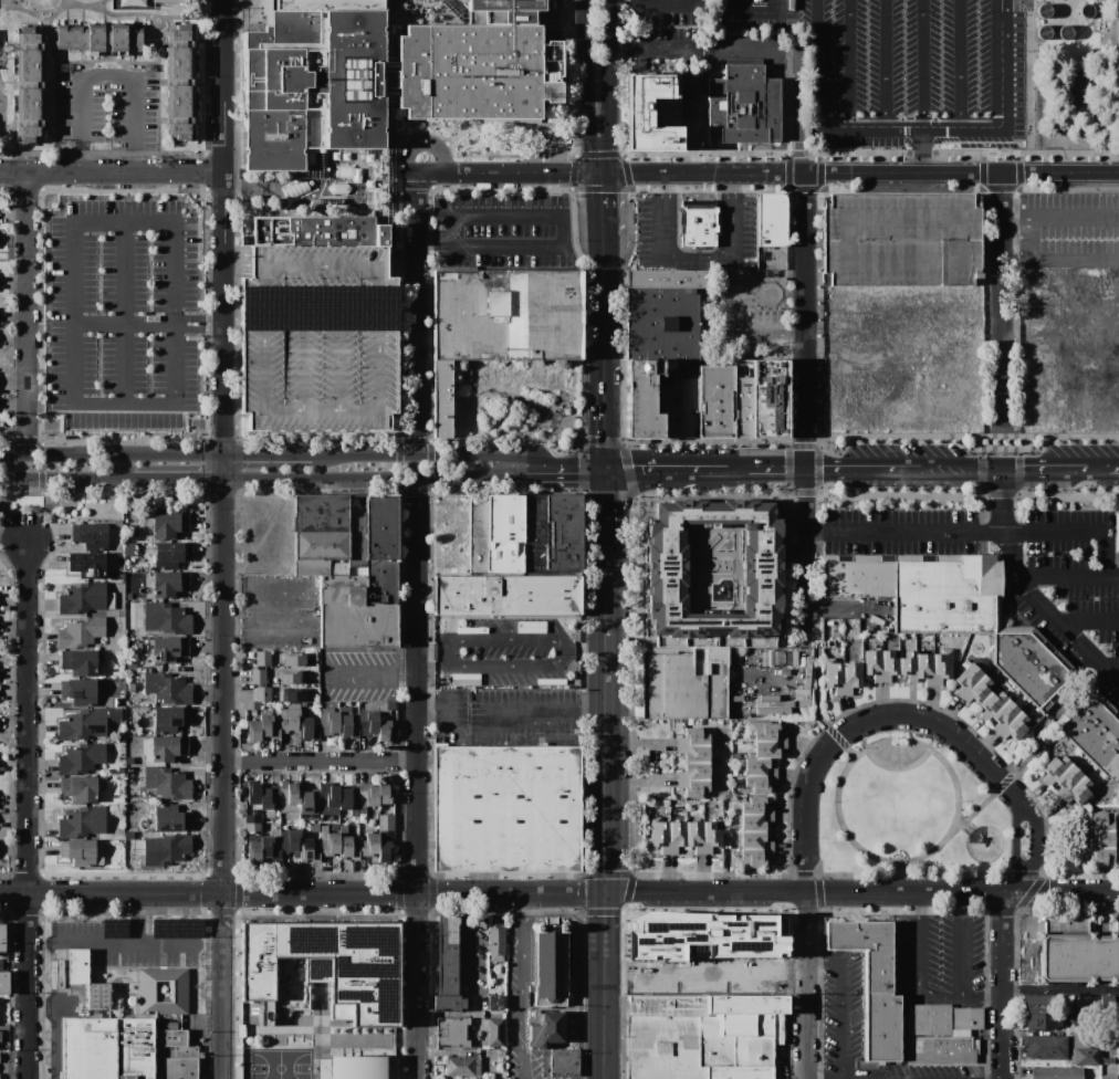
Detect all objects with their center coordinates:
building: (169, 1)
building: (132, 2)
building: (328, 4)
building: (517, 6)
road: (242, 11)
road: (456, 11)
building: (787, 13)
road: (756, 14)
parking lot: (754, 15)
building: (521, 17)
building: (1118, 31)
parking lot: (666, 33)
road: (390, 35)
building: (101, 36)
road: (702, 50)
road: (1003, 62)
road: (886, 63)
road: (923, 63)
road: (960, 63)
road: (849, 64)
building: (477, 69)
parking lot: (920, 75)
road: (105, 77)
road: (56, 82)
building: (180, 82)
building: (29, 85)
building: (312, 85)
building: (390, 85)
road: (1026, 86)
road: (607, 87)
road: (586, 90)
building: (744, 105)
building: (636, 112)
road: (799, 112)
road: (683, 122)
road: (846, 128)
road: (423, 139)
road: (919, 150)
road: (398, 159)
road: (227, 160)
building: (313, 161)
road: (315, 169)
road: (390, 171)
road: (113, 172)
road: (509, 174)
road: (962, 174)
road: (703, 175)
traffic signals: (603, 176)
road: (285, 189)
road: (380, 190)
road: (603, 205)
road: (1016, 219)
road: (1075, 219)
building: (772, 220)
building: (698, 228)
parking lot: (1068, 228)
parking lot: (503, 232)
road: (565, 238)
building: (903, 239)
parking lot: (903, 239)
road: (69, 242)
road: (1056, 255)
road: (698, 258)
building: (761, 259)
road: (401, 263)
building: (666, 279)
road: (1002, 300)
road: (123, 308)
road: (27, 313)
road: (416, 313)
parking lot: (125, 314)
building: (510, 315)
parking lot: (126, 317)
road: (604, 318)
building: (661, 324)
parking lot: (742, 324)
road: (788, 324)
building: (318, 325)
parking lot: (318, 325)
road: (739, 334)
road: (223, 387)
building: (442, 398)
building: (644, 398)
building: (768, 399)
road: (122, 401)
building: (714, 401)
building: (741, 407)
building: (688, 408)
road: (805, 408)
building: (670, 409)
road: (604, 437)
road: (415, 441)
road: (401, 443)
road: (429, 443)
road: (1002, 447)
road: (399, 453)
road: (431, 453)
road: (460, 453)
road: (112, 454)
traffic signals: (223, 454)
road: (268, 454)
road: (11, 467)
road: (43, 467)
road: (223, 467)
road: (400, 467)
road: (432, 467)
road: (1098, 467)
road: (1113, 467)
road: (885, 468)
road: (961, 468)
traffic signals: (1002, 468)
road: (1045, 468)
road: (733, 469)
road: (776, 469)
road: (826, 469)
traffic signals: (607, 470)
road: (662, 470)
road: (557, 478)
road: (65, 479)
road: (177, 479)
traffic signals: (223, 479)
road: (365, 480)
road: (400, 480)
road: (432, 480)
road: (401, 490)
road: (429, 490)
road: (415, 492)
building: (322, 513)
road: (608, 517)
building: (536, 520)
building: (170, 524)
building: (381, 527)
building: (477, 530)
building: (565, 531)
building: (357, 532)
building: (1117, 532)
building: (505, 533)
road: (984, 533)
building: (450, 534)
building: (90, 535)
building: (132, 537)
building: (321, 545)
building: (150, 548)
building: (129, 549)
road: (223, 552)
building: (170, 554)
building: (87, 564)
parking lot: (1021, 564)
building: (312, 567)
building: (762, 568)
road: (1064, 578)
building: (169, 584)
building: (362, 586)
building: (923, 588)
road: (1027, 590)
building: (128, 596)
building: (506, 597)
building: (82, 598)
building: (149, 598)
building: (109, 600)
building: (133, 615)
road: (1086, 617)
building: (166, 618)
building: (358, 626)
building: (80, 632)
road: (506, 640)
building: (169, 649)
road: (433, 652)
road: (586, 652)
building: (262, 658)
building: (311, 658)
building: (770, 658)
building: (788, 658)
building: (293, 659)
building: (764, 659)
building: (776, 659)
building: (782, 659)
road: (1108, 659)
building: (79, 662)
building: (874, 663)
building: (965, 663)
building: (888, 664)
building: (909, 664)
building: (1032, 664)
road: (505, 666)
building: (942, 666)
building: (925, 668)
building: (994, 670)
road: (373, 673)
building: (834, 674)
building: (258, 677)
building: (292, 677)
building: (850, 677)
building: (968, 678)
building: (268, 680)
building: (683, 681)
building: (130, 687)
building: (167, 688)
building: (977, 690)
building: (79, 691)
building: (802, 691)
building: (262, 693)
building: (275, 693)
building: (294, 694)
building: (308, 695)
building: (802, 696)
road: (819, 701)
road: (447, 703)
building: (802, 703)
building: (341, 704)
road: (540, 704)
building: (992, 704)
building: (252, 705)
building: (302, 705)
building: (386, 705)
building: (372, 708)
building: (1027, 709)
building: (773, 711)
building: (276, 712)
building: (113, 714)
building: (1004, 715)
building: (290, 717)
building: (170, 719)
building: (327, 721)
building: (347, 723)
building: (368, 723)
road: (859, 723)
building: (83, 724)
building: (269, 725)
building: (307, 726)
building: (1014, 726)
road: (609, 730)
building: (253, 731)
building: (384, 731)
building: (766, 731)
building: (1094, 732)
building: (693, 737)
building: (122, 740)
road: (1034, 744)
building: (168, 747)
building: (768, 748)
building: (694, 752)
building: (736, 755)
building: (82, 760)
road: (652, 760)
building: (129, 761)
road: (322, 761)
building: (757, 767)
building: (1055, 768)
building: (128, 769)
building: (735, 769)
building: (694, 771)
road: (419, 778)
road: (844, 781)
building: (1067, 781)
building: (167, 783)
building: (760, 783)
building: (693, 787)
building: (79, 788)
building: (1078, 792)
building: (253, 793)
building: (385, 793)
building: (289, 796)
building: (367, 796)
building: (328, 798)
building: (349, 799)
building: (270, 800)
building: (310, 800)
building: (755, 806)
building: (506, 808)
building: (683, 809)
road: (29, 810)
building: (647, 810)
building: (255, 811)
park: (912, 811)
building: (310, 816)
building: (170, 818)
building: (252, 818)
building: (754, 821)
building: (82, 823)
building: (386, 823)
building: (1099, 823)
building: (252, 827)
road: (965, 827)
building: (343, 830)
building: (659, 834)
building: (128, 835)
building: (677, 835)
building: (696, 835)
building: (711, 836)
building: (1101, 839)
building: (755, 840)
building: (328, 841)
building: (290, 842)
building: (368, 845)
road: (1017, 845)
road: (1035, 845)
building: (138, 847)
building: (348, 847)
building: (385, 847)
building: (270, 848)
building: (166, 849)
building: (310, 849)
building: (79, 851)
road: (226, 851)
building: (254, 851)
building: (98, 855)
building: (752, 857)
building: (1100, 857)
road: (899, 879)
road: (304, 894)
road: (864, 894)
building: (512, 924)
building: (2, 937)
building: (495, 939)
road: (92, 942)
road: (144, 942)
road: (959, 944)
building: (746, 951)
building: (1077, 951)
building: (496, 957)
road: (772, 964)
road: (916, 964)
building: (448, 965)
building: (550, 965)
building: (77, 966)
building: (323, 968)
building: (879, 972)
building: (54, 974)
building: (61, 974)
building: (4, 983)
road: (1002, 983)
road: (606, 985)
road: (525, 986)
road: (805, 986)
road: (1060, 989)
building: (163, 992)
road: (980, 995)
building: (98, 996)
road: (840, 1001)
building: (495, 1003)
building: (1039, 1003)
building: (1107, 1003)
building: (1069, 1006)
building: (1044, 1020)
building: (553, 1026)
building: (703, 1028)
building: (495, 1031)
building: (452, 1033)
building: (0, 1036)
building: (535, 1036)
building: (1045, 1047)
building: (126, 1050)
building: (1106, 1054)
building: (1085, 1057)
building: (1107, 1060)
building: (565, 1062)
building: (463, 1066)
building: (356, 1067)
building: (1057, 1073)
building: (1109, 1077)
building: (479, 1078)

